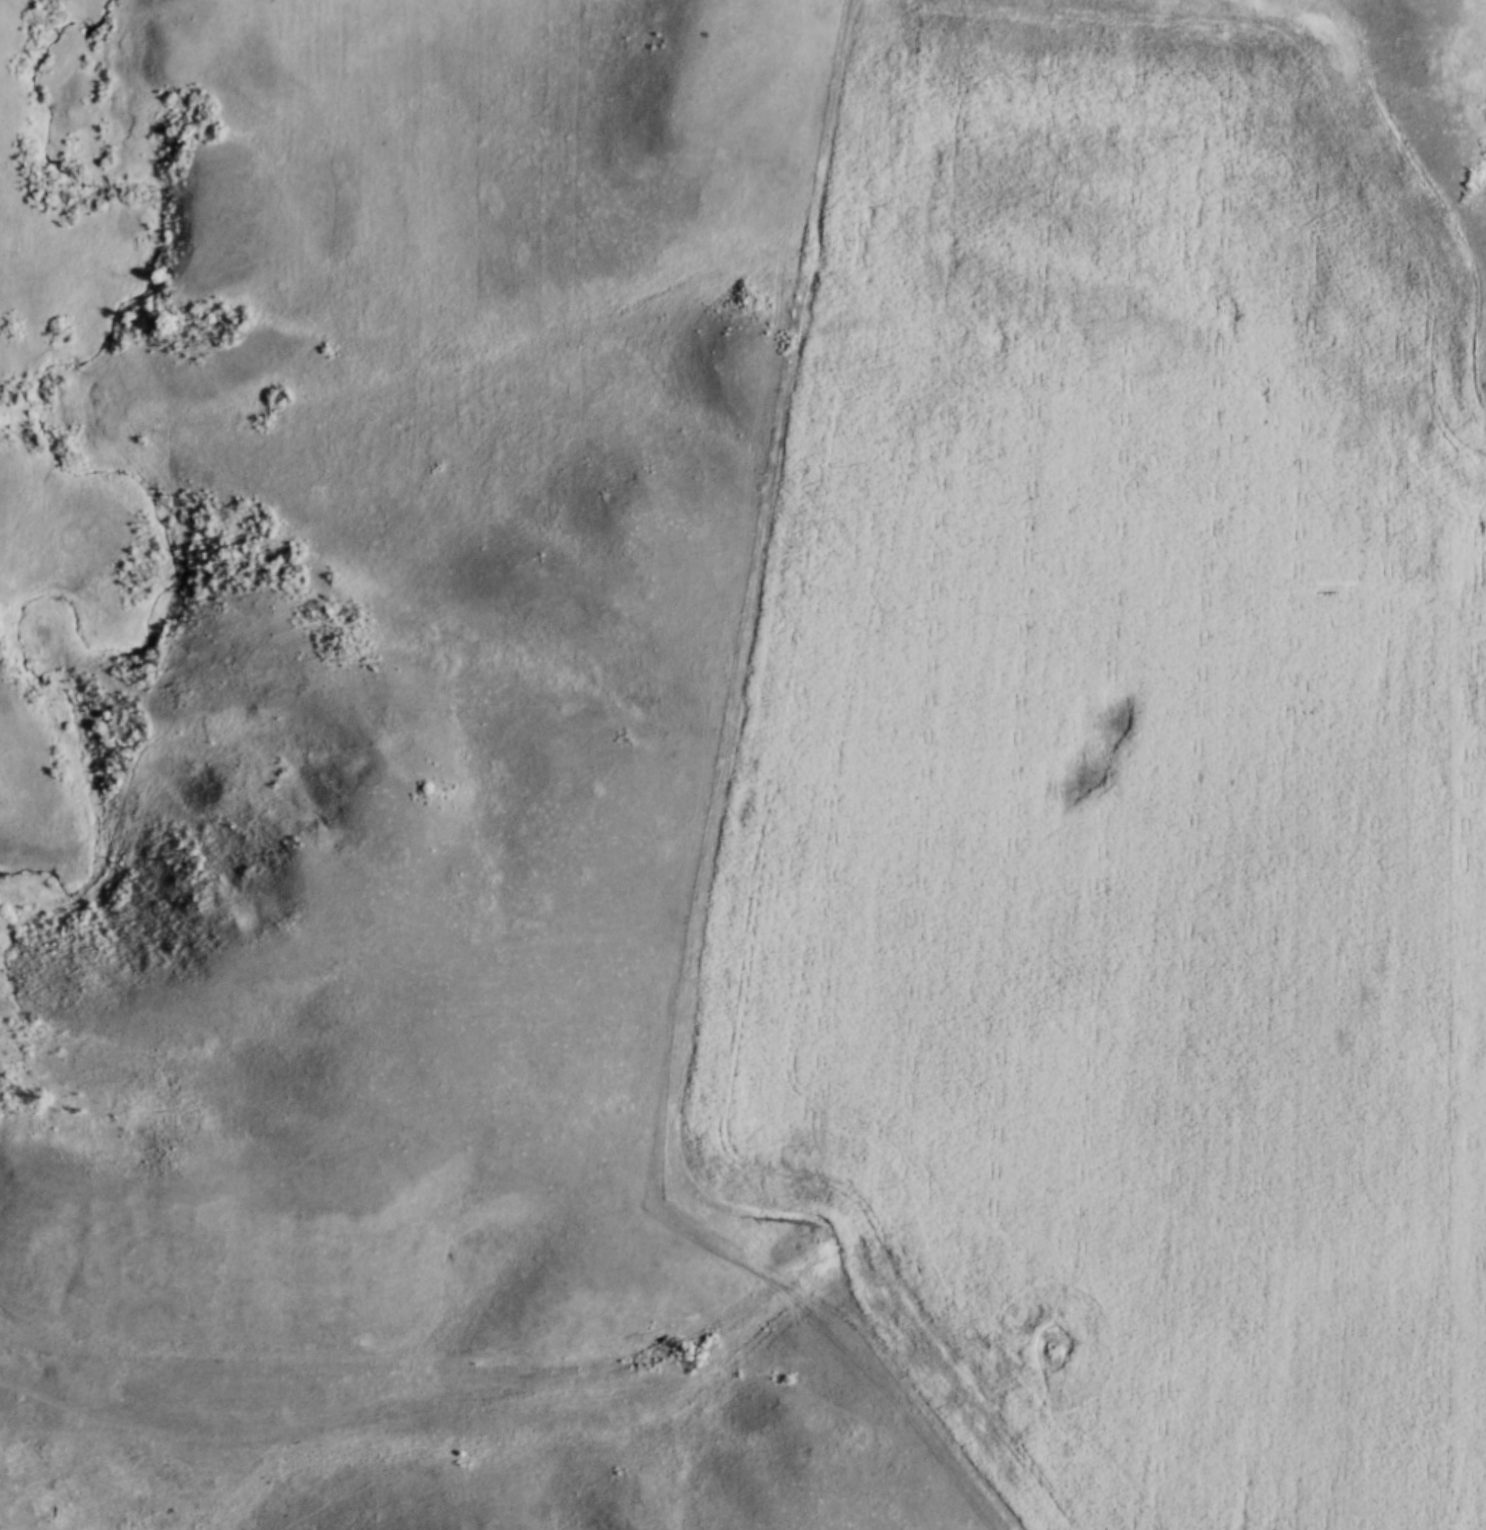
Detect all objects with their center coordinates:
road: (1026, 1246)

